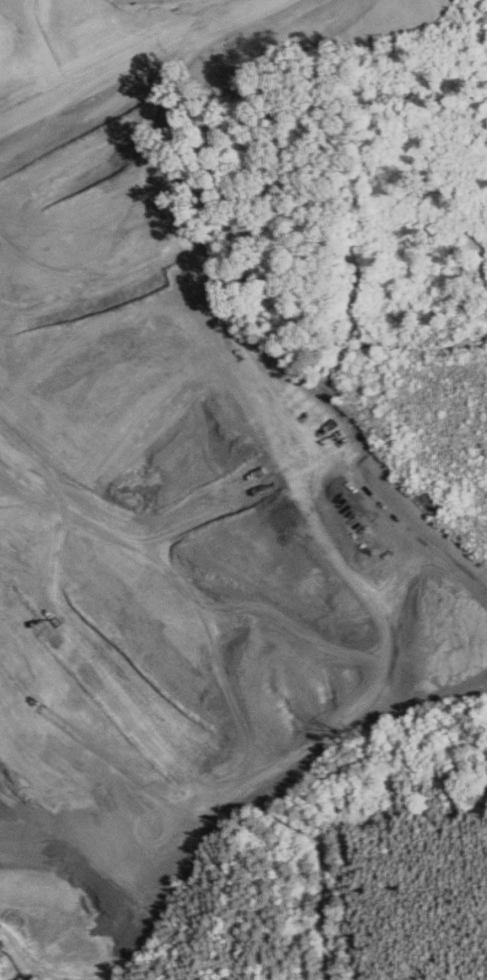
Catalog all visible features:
road: (128, 63)
road: (106, 196)
road: (375, 259)
road: (243, 371)
road: (261, 591)
road: (81, 739)

